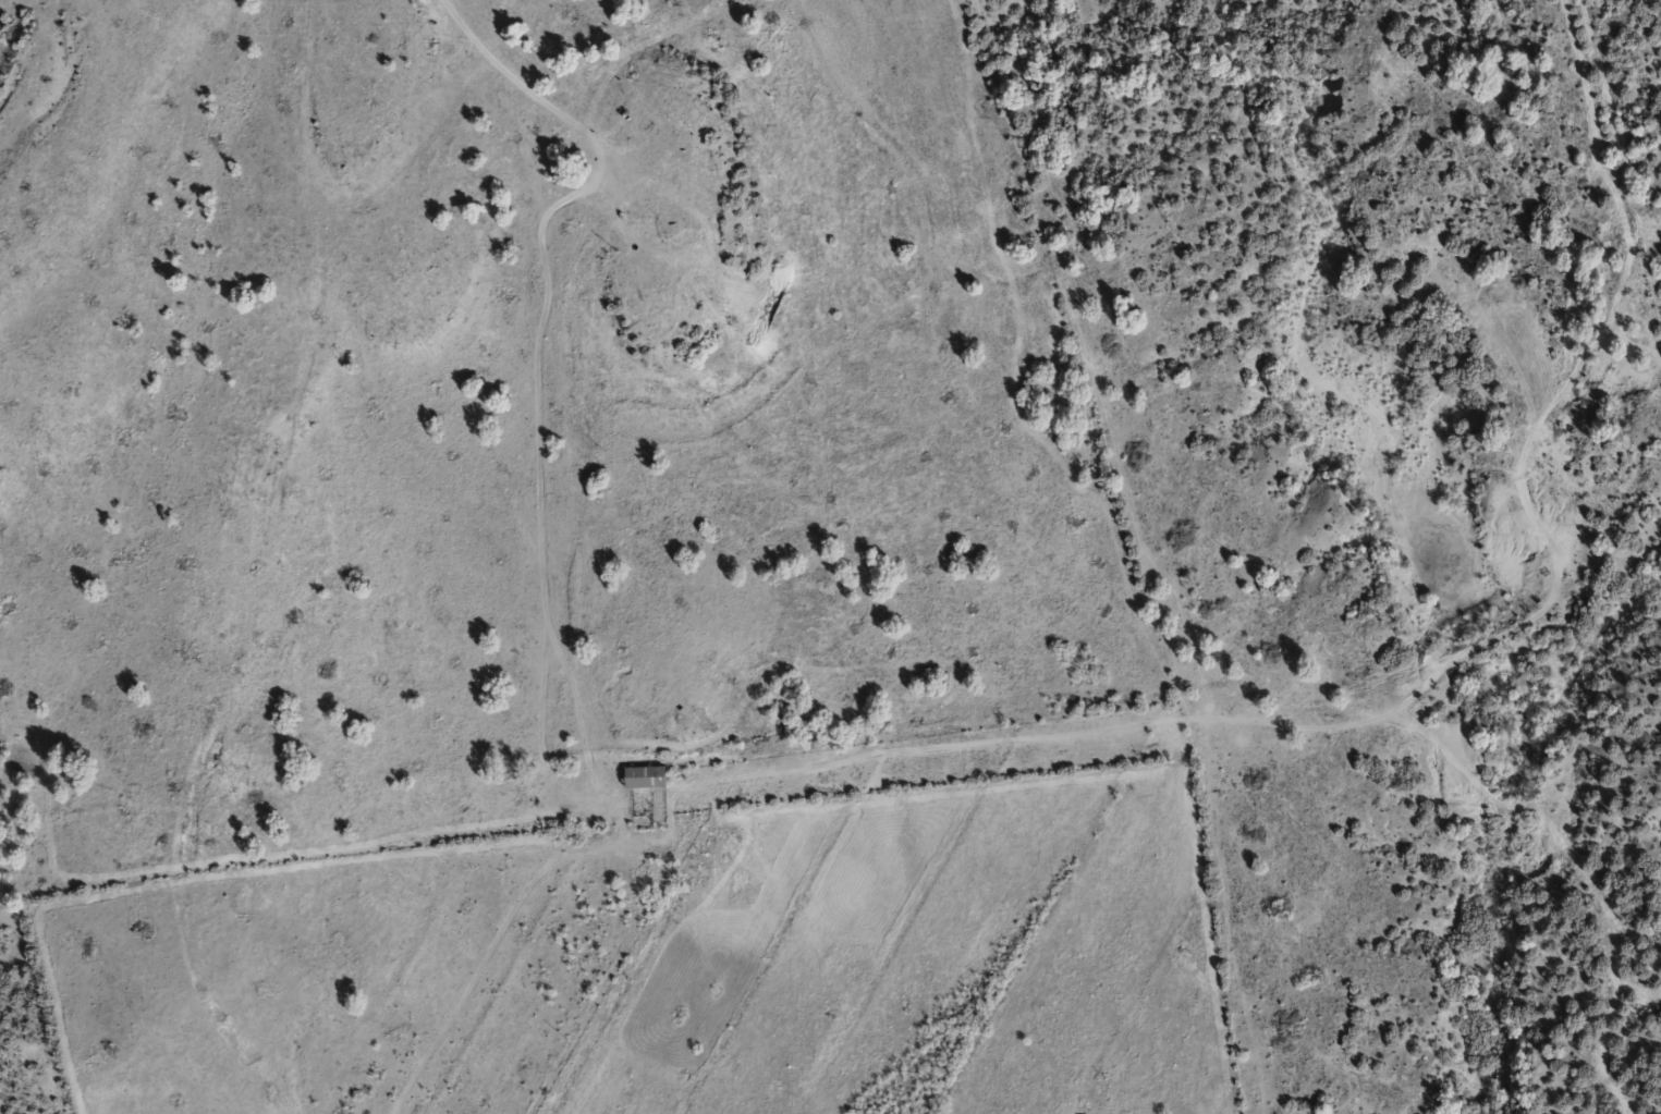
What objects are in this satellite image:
building: (648, 786)

